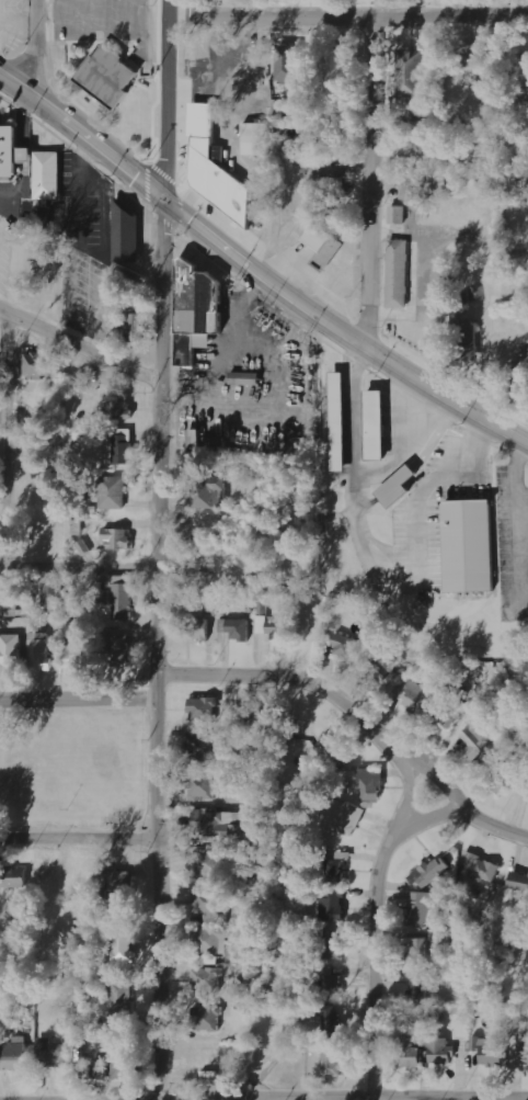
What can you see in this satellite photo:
road: (346, 14)
road: (33, 47)
building: (289, 64)
building: (335, 69)
building: (413, 73)
building: (108, 76)
road: (164, 98)
building: (256, 139)
building: (412, 148)
building: (12, 151)
building: (217, 169)
building: (333, 171)
building: (48, 175)
road: (367, 180)
building: (412, 184)
traffic signals: (163, 196)
building: (398, 215)
building: (127, 236)
building: (324, 246)
road: (259, 269)
building: (399, 274)
building: (443, 276)
building: (477, 293)
building: (444, 300)
building: (196, 311)
building: (135, 327)
building: (467, 339)
road: (81, 347)
building: (39, 365)
building: (518, 377)
building: (248, 378)
building: (117, 408)
building: (340, 421)
building: (378, 424)
road: (5, 439)
building: (205, 444)
building: (123, 445)
building: (47, 466)
building: (399, 487)
building: (206, 491)
building: (113, 492)
building: (117, 538)
building: (470, 545)
road: (80, 564)
building: (51, 593)
building: (119, 596)
building: (211, 601)
building: (199, 628)
building: (236, 628)
building: (280, 634)
building: (344, 646)
road: (161, 647)
building: (119, 650)
building: (11, 651)
building: (39, 651)
building: (73, 657)
building: (380, 668)
building: (410, 693)
road: (80, 694)
building: (448, 707)
building: (204, 710)
building: (252, 710)
road: (358, 713)
building: (478, 740)
building: (202, 745)
building: (331, 749)
park: (76, 771)
building: (502, 779)
building: (371, 784)
building: (202, 785)
building: (527, 801)
building: (344, 818)
road: (80, 835)
building: (206, 862)
building: (481, 867)
building: (335, 871)
building: (429, 873)
building: (122, 882)
building: (519, 882)
building: (333, 905)
building: (208, 906)
building: (424, 909)
road: (375, 921)
building: (217, 942)
building: (124, 945)
building: (333, 948)
building: (418, 951)
building: (207, 978)
building: (326, 983)
building: (421, 988)
building: (120, 998)
building: (206, 1018)
building: (331, 1021)
building: (523, 1046)
building: (441, 1051)
building: (489, 1051)
building: (54, 1053)
building: (16, 1054)
building: (411, 1054)
building: (331, 1063)
building: (116, 1067)
road: (135, 1099)
road: (264, 1099)

